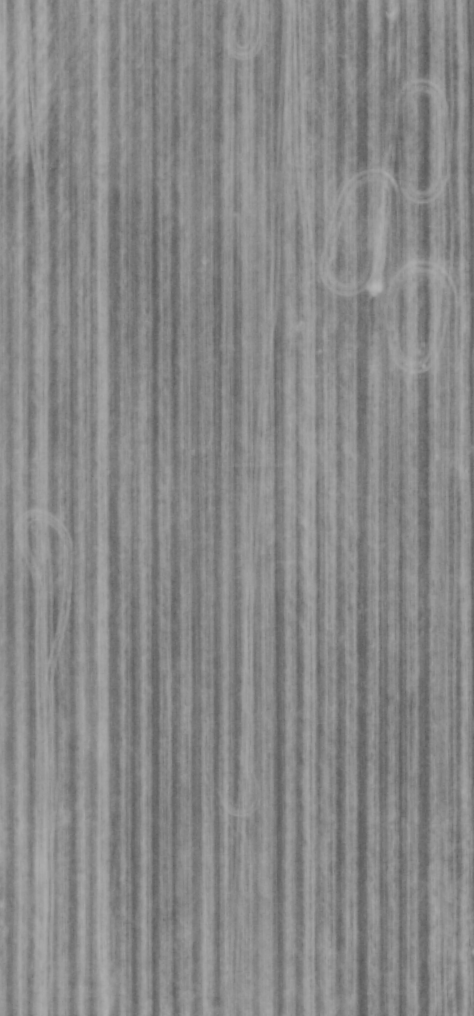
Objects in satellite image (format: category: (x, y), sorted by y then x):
crop: (237, 508)

